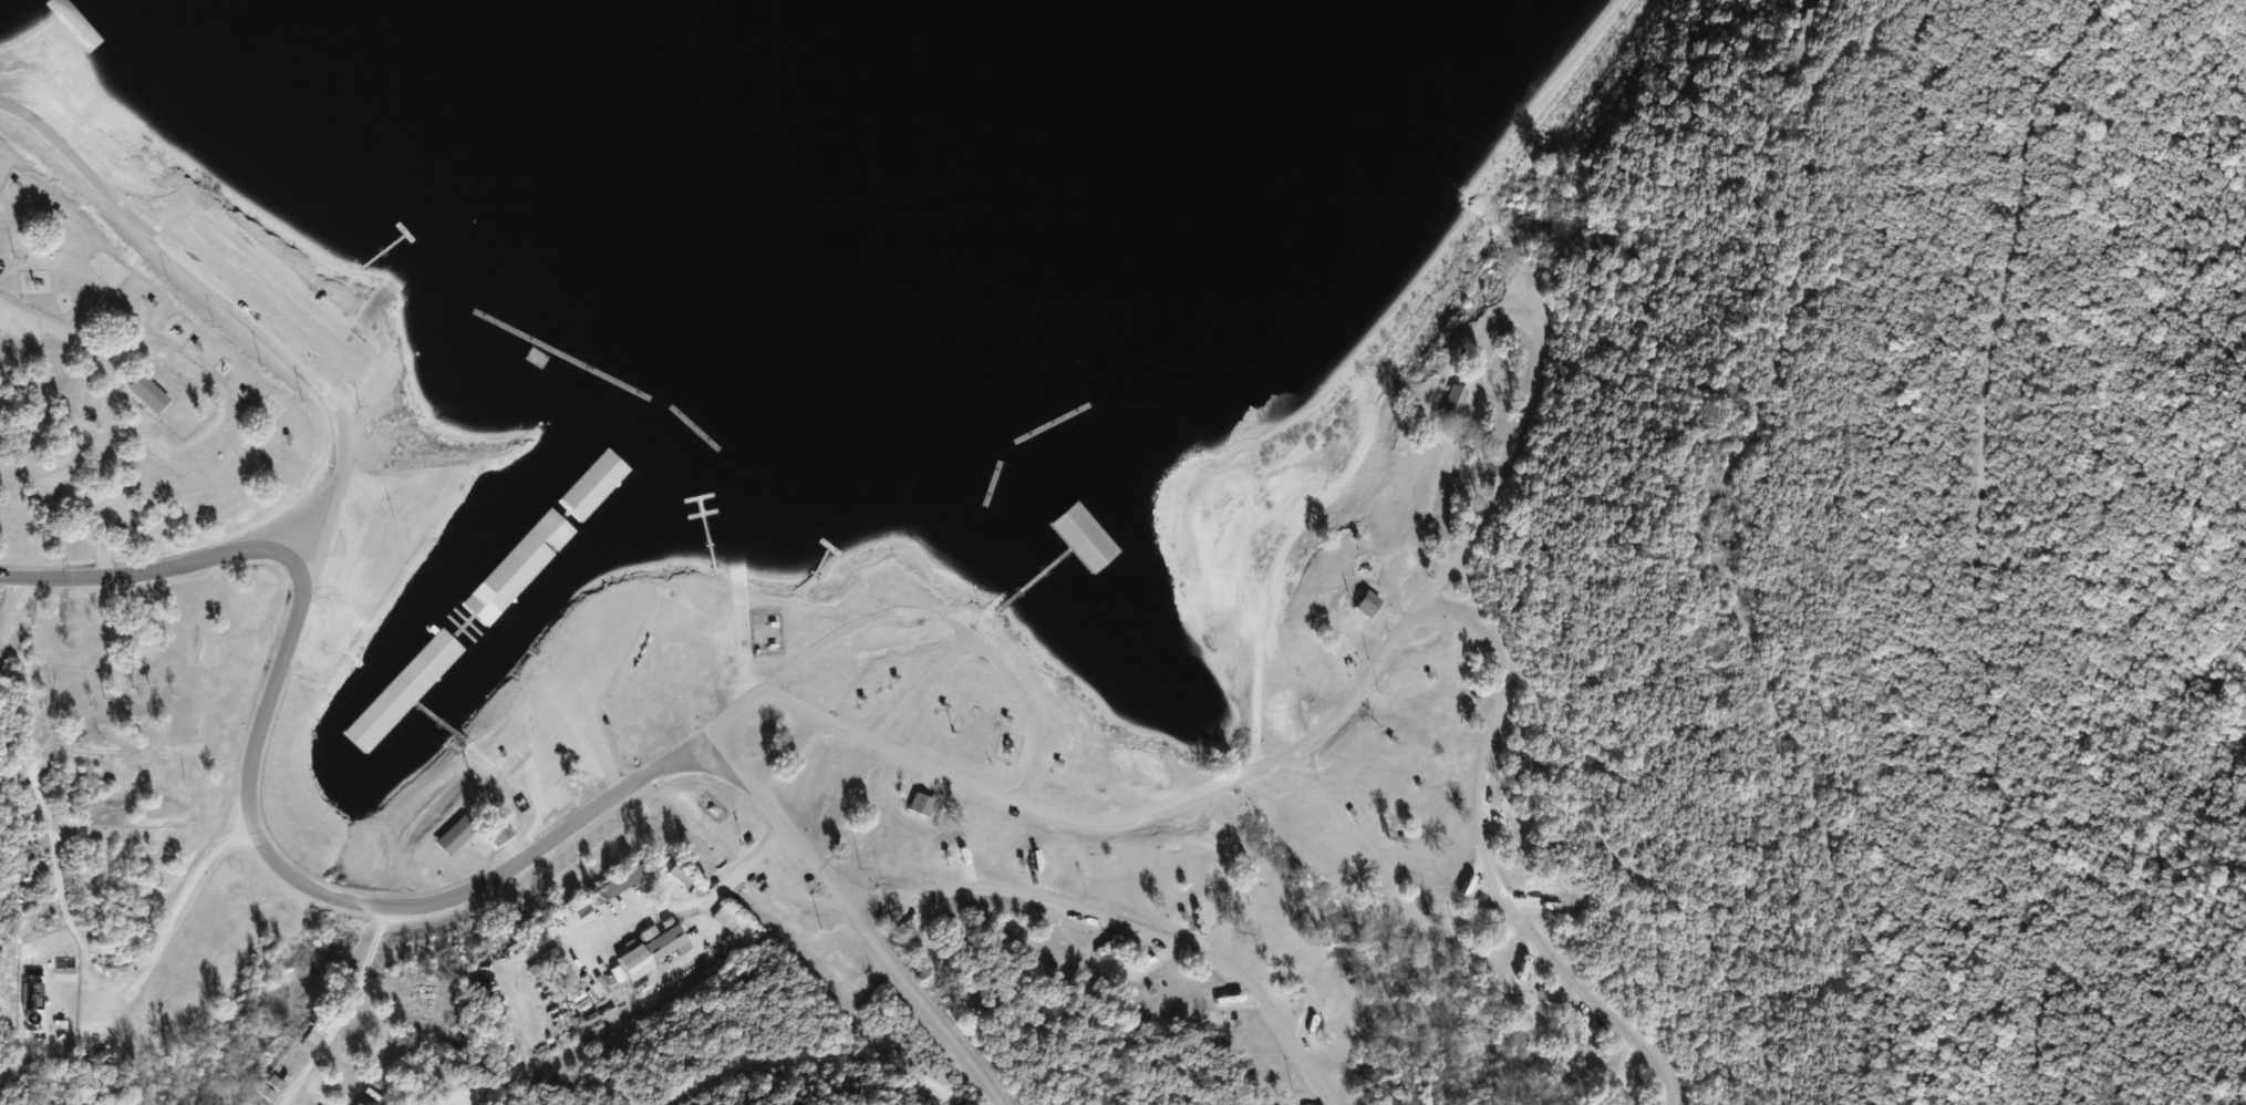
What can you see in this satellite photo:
road: (235, 298)
road: (358, 322)
building: (148, 394)
building: (1456, 404)
building: (594, 472)
building: (1108, 548)
building: (497, 591)
building: (1367, 603)
road: (10, 615)
road: (746, 637)
park: (1226, 655)
road: (992, 658)
building: (413, 686)
road: (1357, 688)
road: (246, 801)
building: (923, 806)
building: (1499, 819)
building: (455, 836)
building: (494, 837)
road: (858, 916)
road: (1127, 926)
building: (649, 956)
building: (304, 1046)

